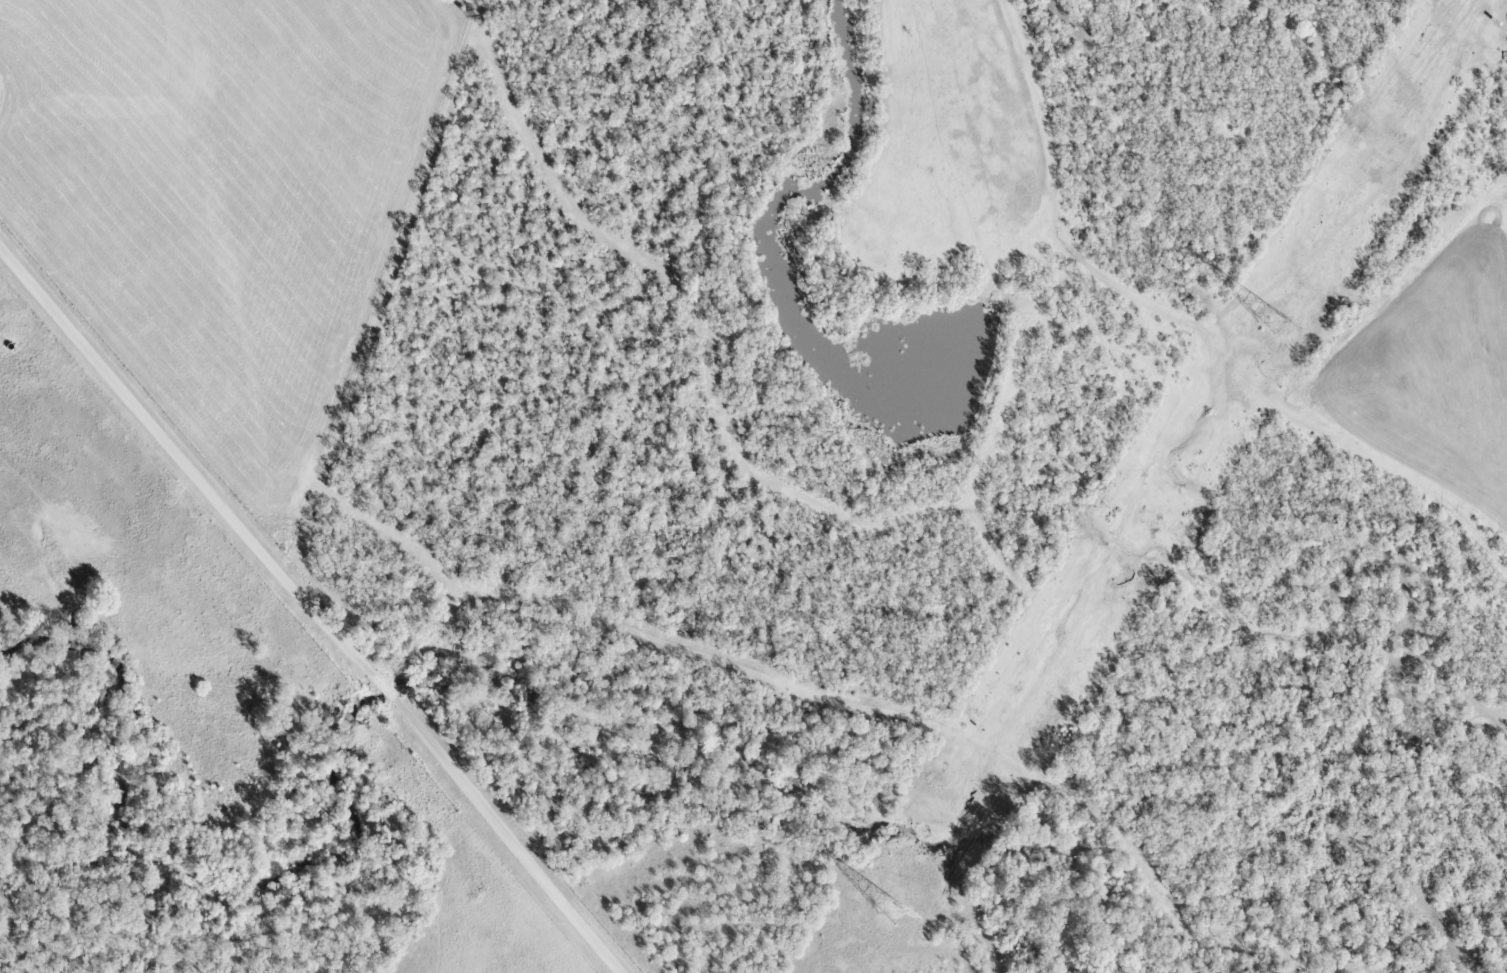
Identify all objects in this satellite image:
power tower: (1270, 321)
road: (310, 608)
power tower: (892, 910)

